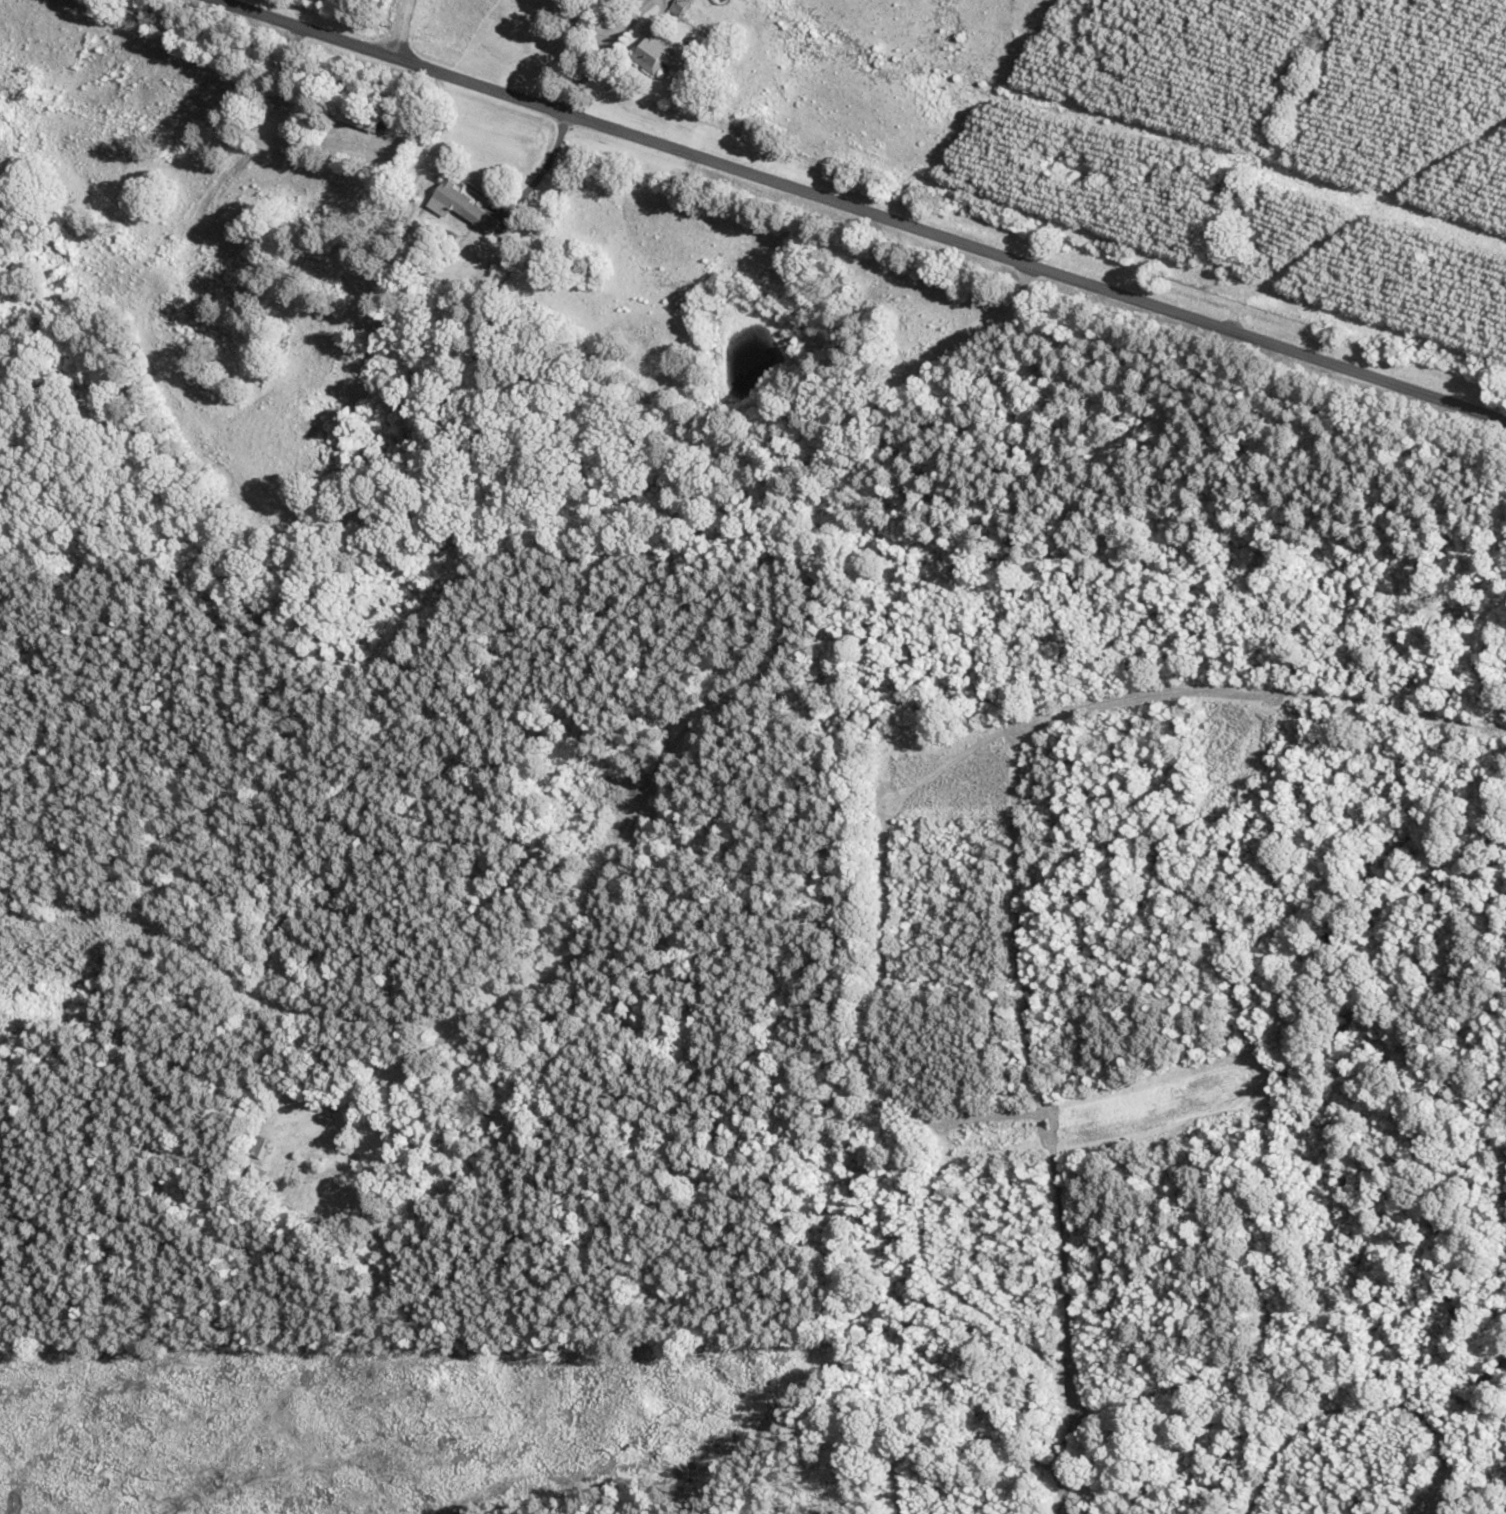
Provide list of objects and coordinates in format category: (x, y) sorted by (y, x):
building: (678, 7)
road: (402, 30)
building: (656, 50)
building: (364, 117)
building: (462, 205)
road: (857, 210)

